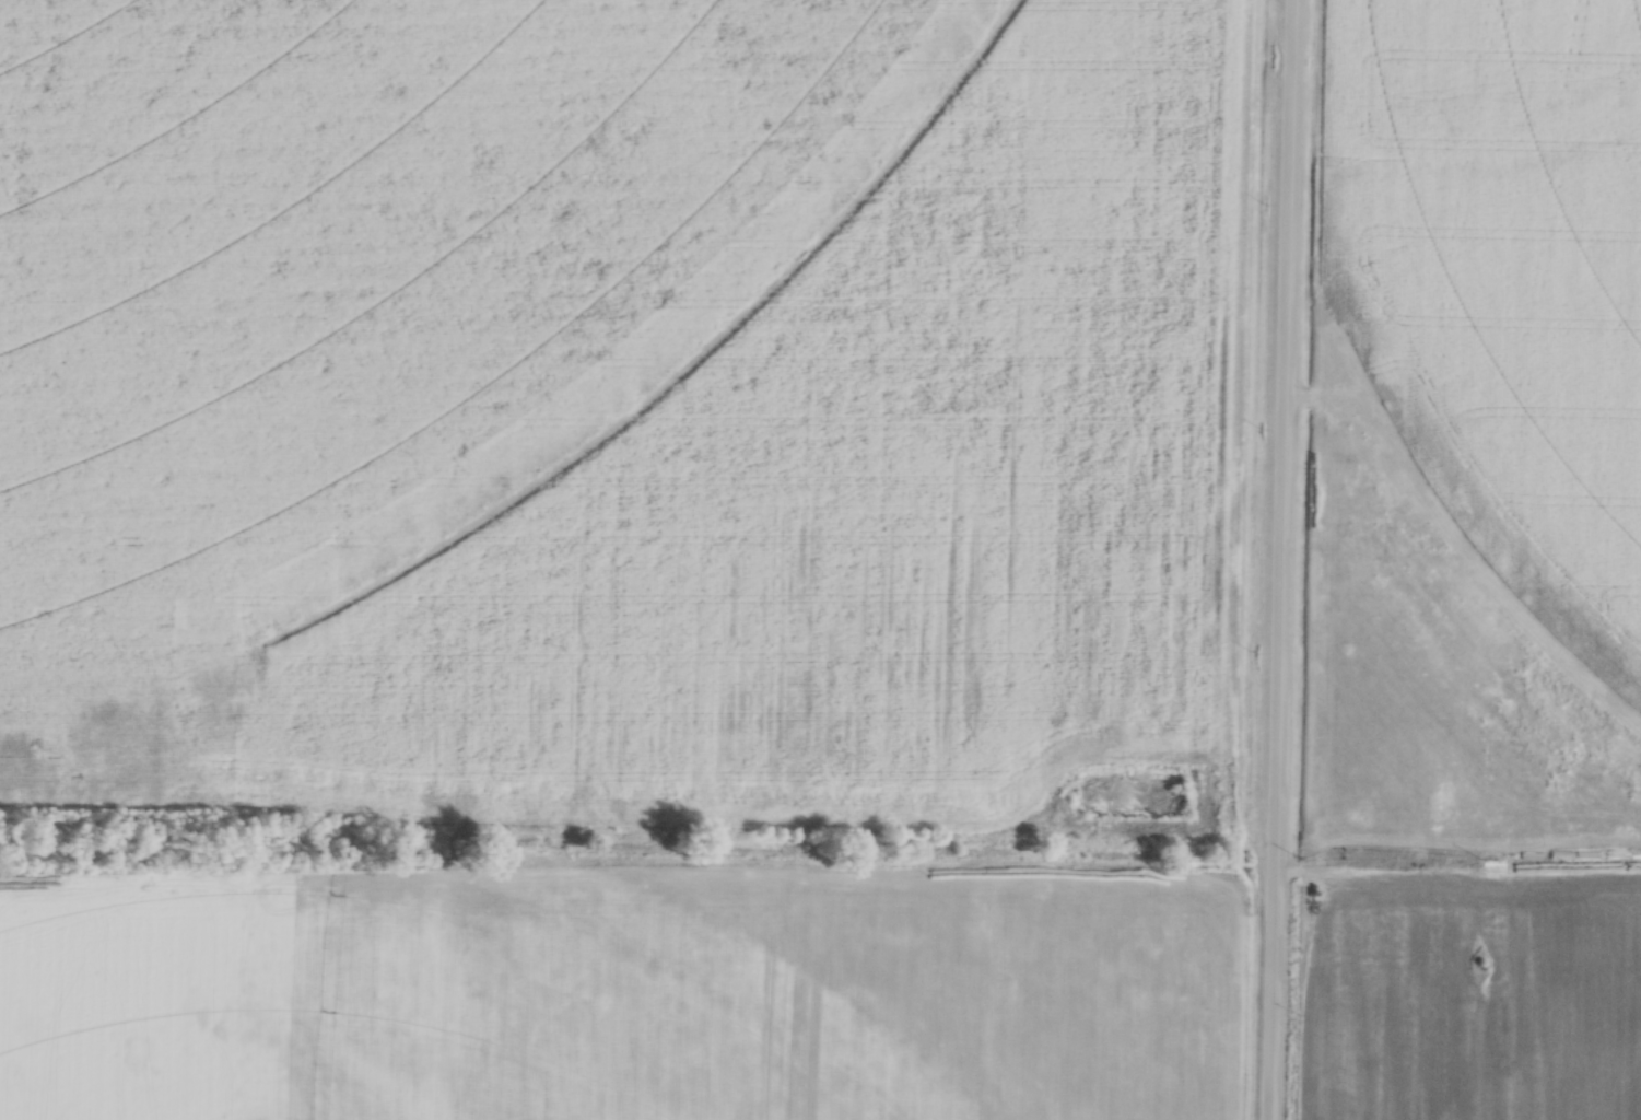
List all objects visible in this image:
road: (1284, 560)

